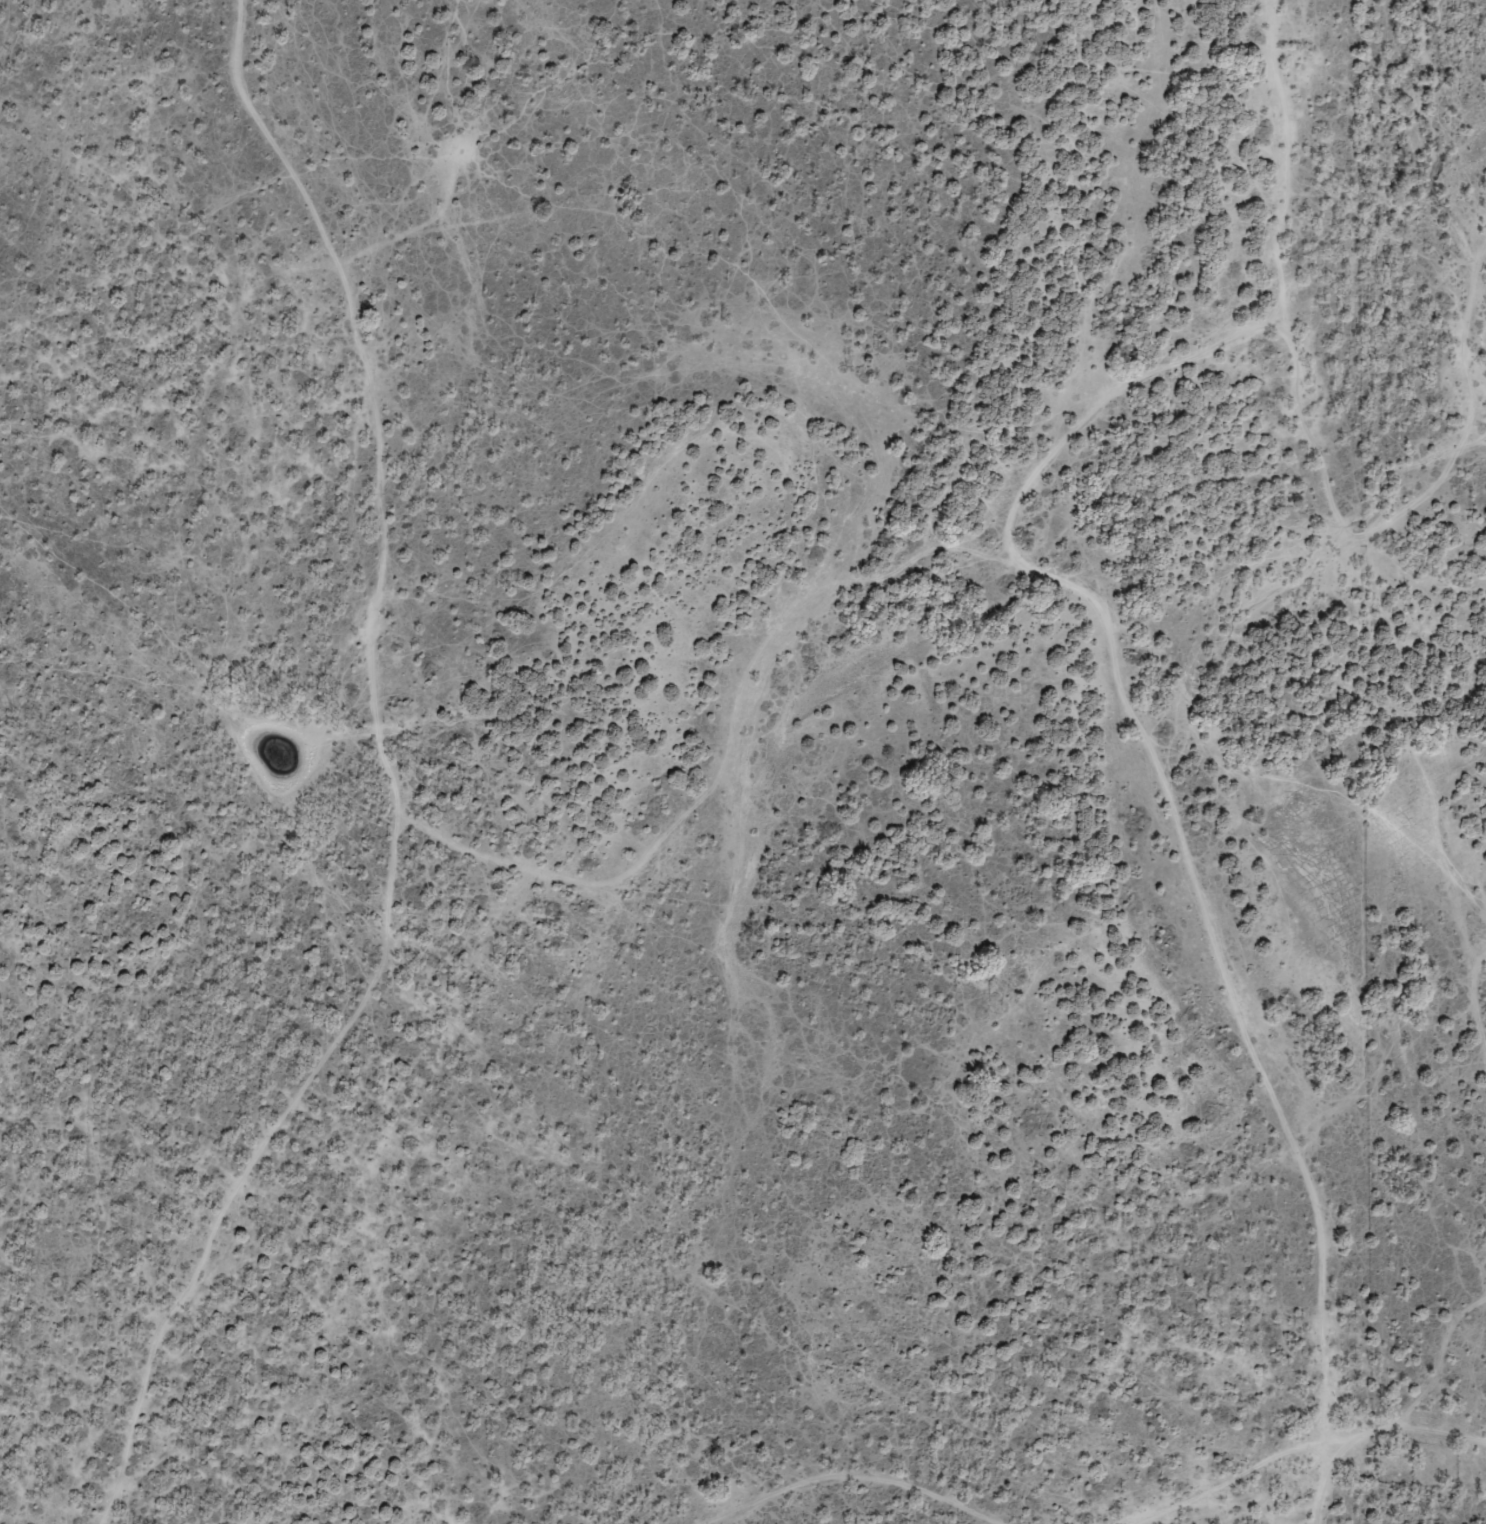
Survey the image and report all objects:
road: (1232, 1508)
road: (840, 1520)

